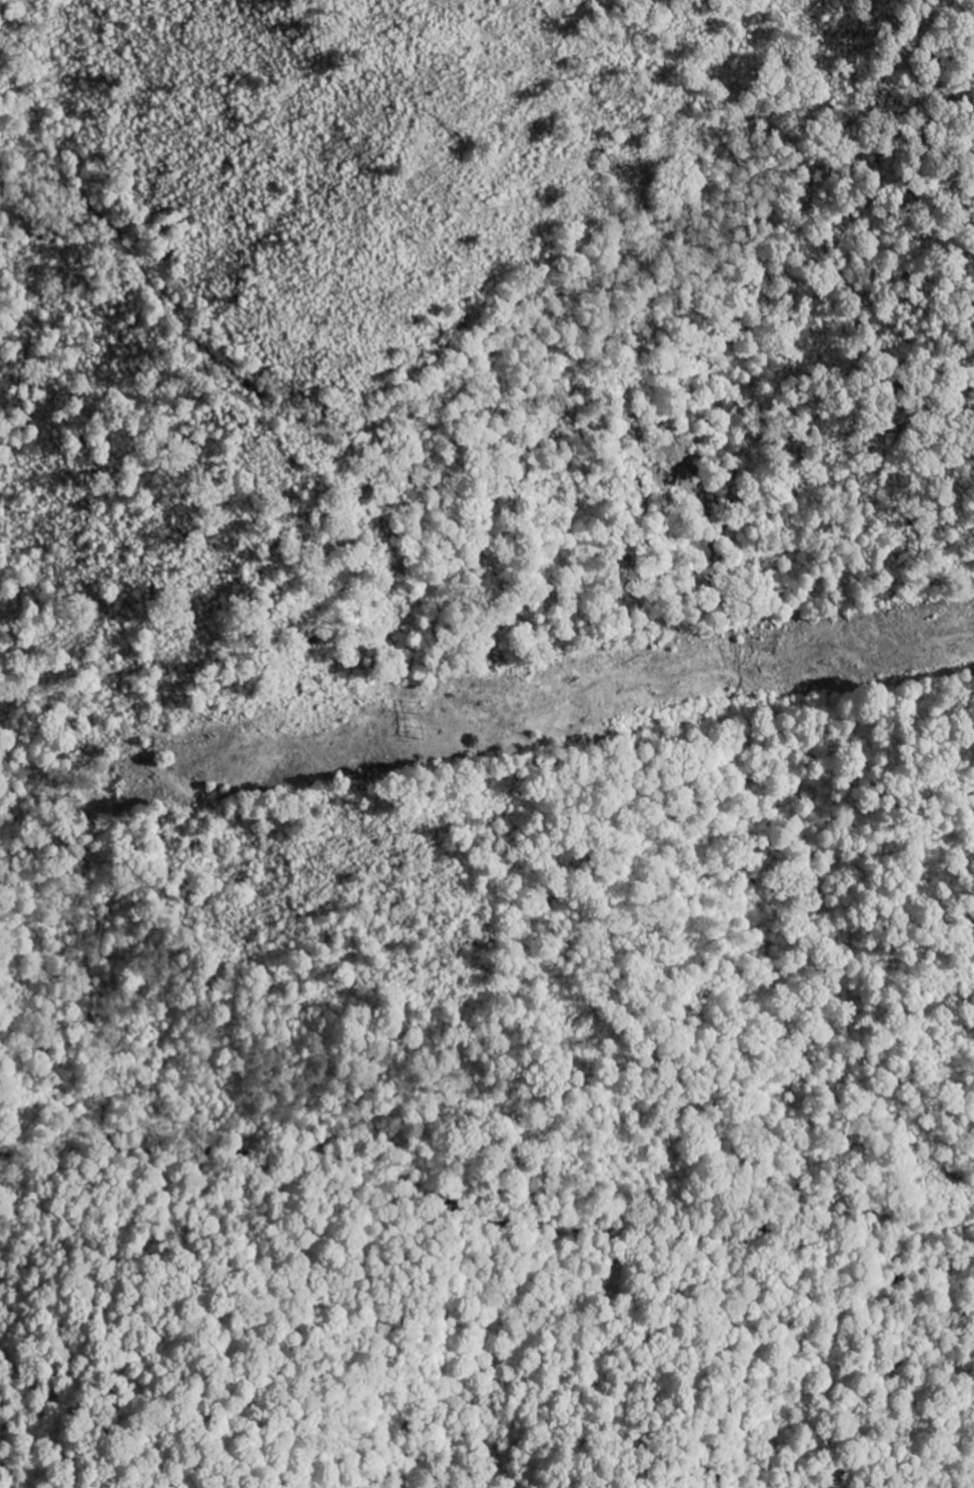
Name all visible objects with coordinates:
road: (915, 1184)

